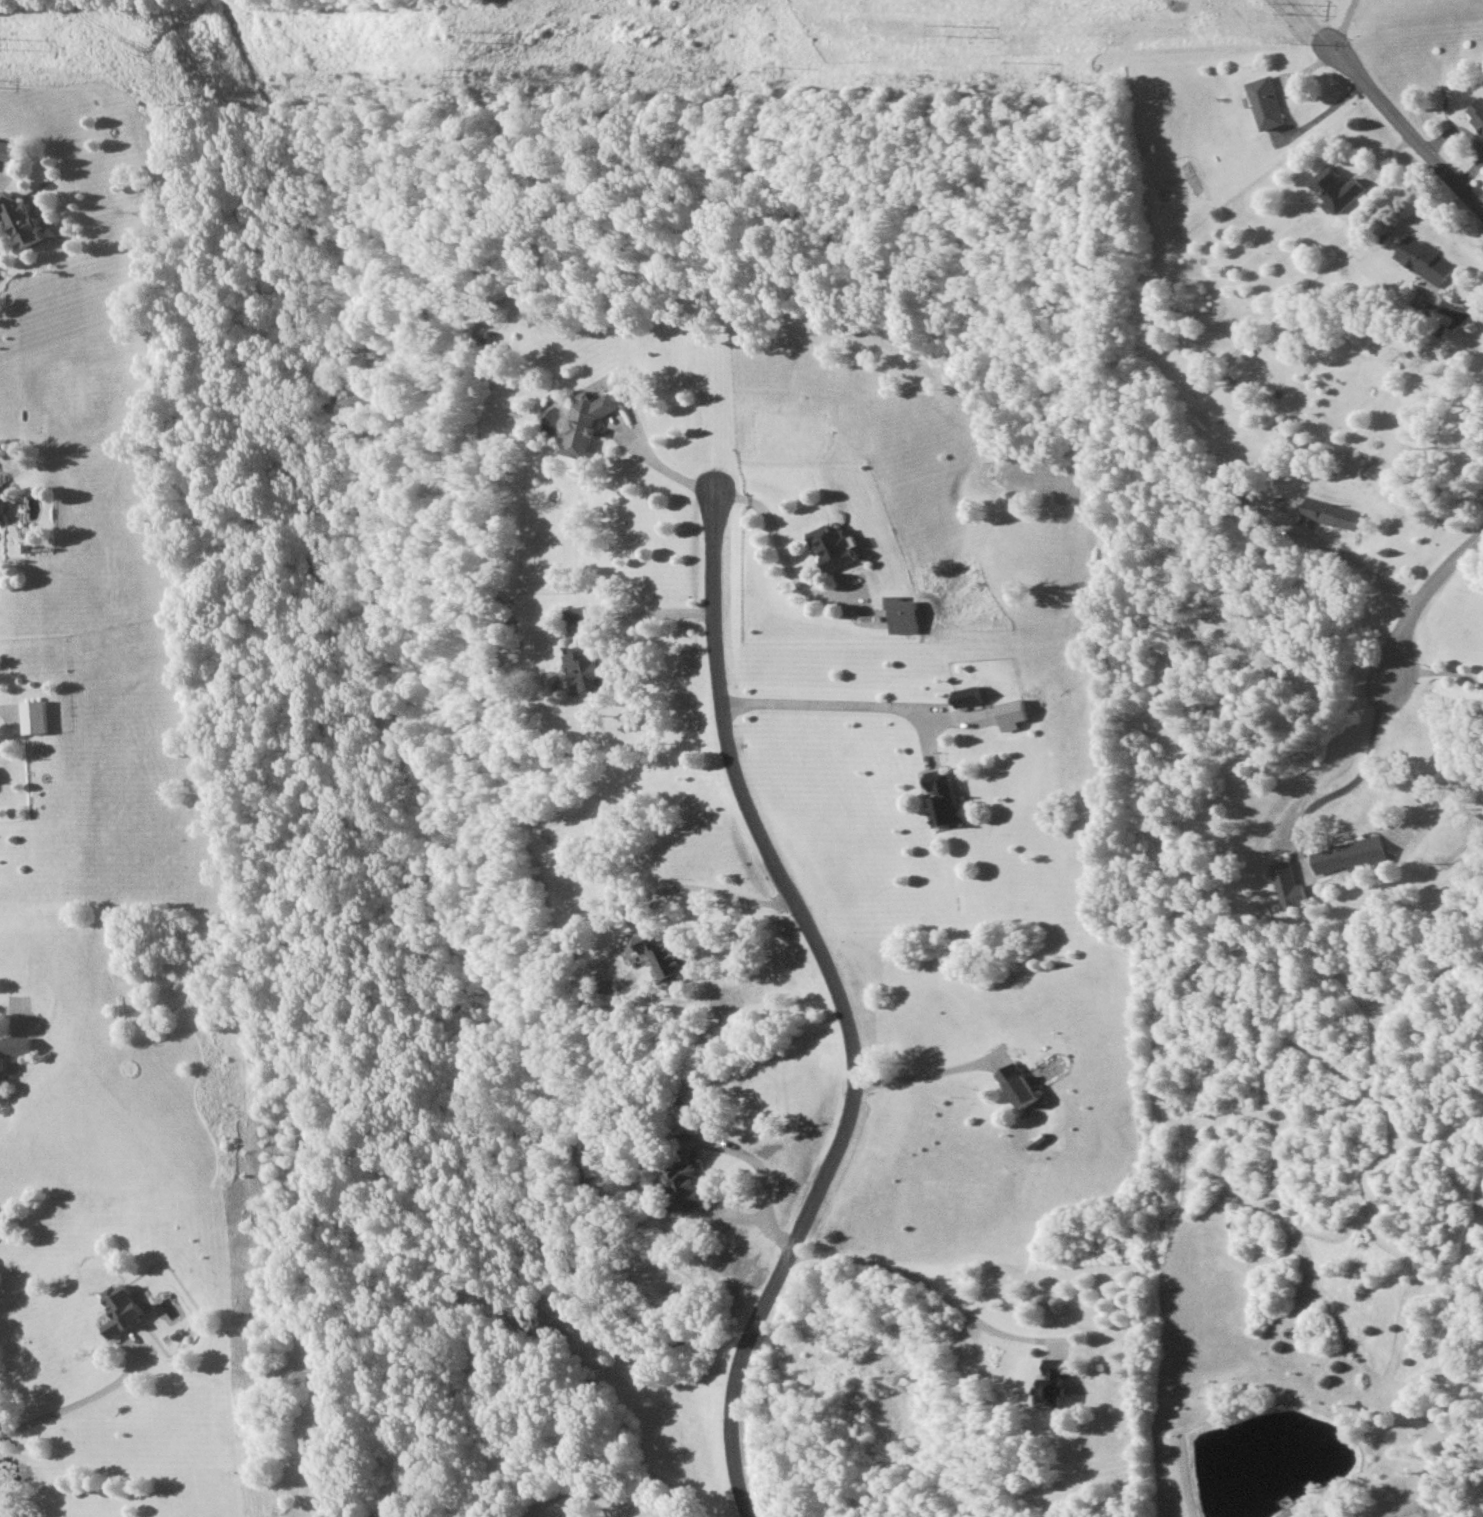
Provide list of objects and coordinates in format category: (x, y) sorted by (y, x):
power tower: (1284, 10)
road: (1311, 20)
road: (1343, 22)
power tower: (945, 29)
power tower: (482, 36)
building: (1264, 103)
building: (1477, 113)
road: (1406, 124)
building: (10, 151)
building: (1337, 188)
building: (21, 221)
building: (1424, 259)
road: (3, 266)
building: (1459, 293)
building: (588, 425)
road: (654, 457)
building: (2, 502)
building: (1333, 514)
road: (780, 547)
building: (833, 547)
road: (1364, 561)
road: (1422, 603)
road: (643, 611)
building: (902, 614)
building: (580, 615)
building: (585, 669)
road: (1439, 675)
building: (966, 696)
road: (843, 700)
building: (1009, 714)
building: (34, 717)
road: (1354, 779)
building: (944, 800)
road: (752, 807)
building: (1349, 855)
road: (710, 884)
building: (1285, 886)
building: (662, 954)
building: (12, 1053)
road: (920, 1075)
building: (1018, 1085)
road: (762, 1169)
building: (688, 1185)
road: (732, 1217)
road: (931, 1285)
building: (124, 1309)
building: (1053, 1383)
road: (71, 1407)

